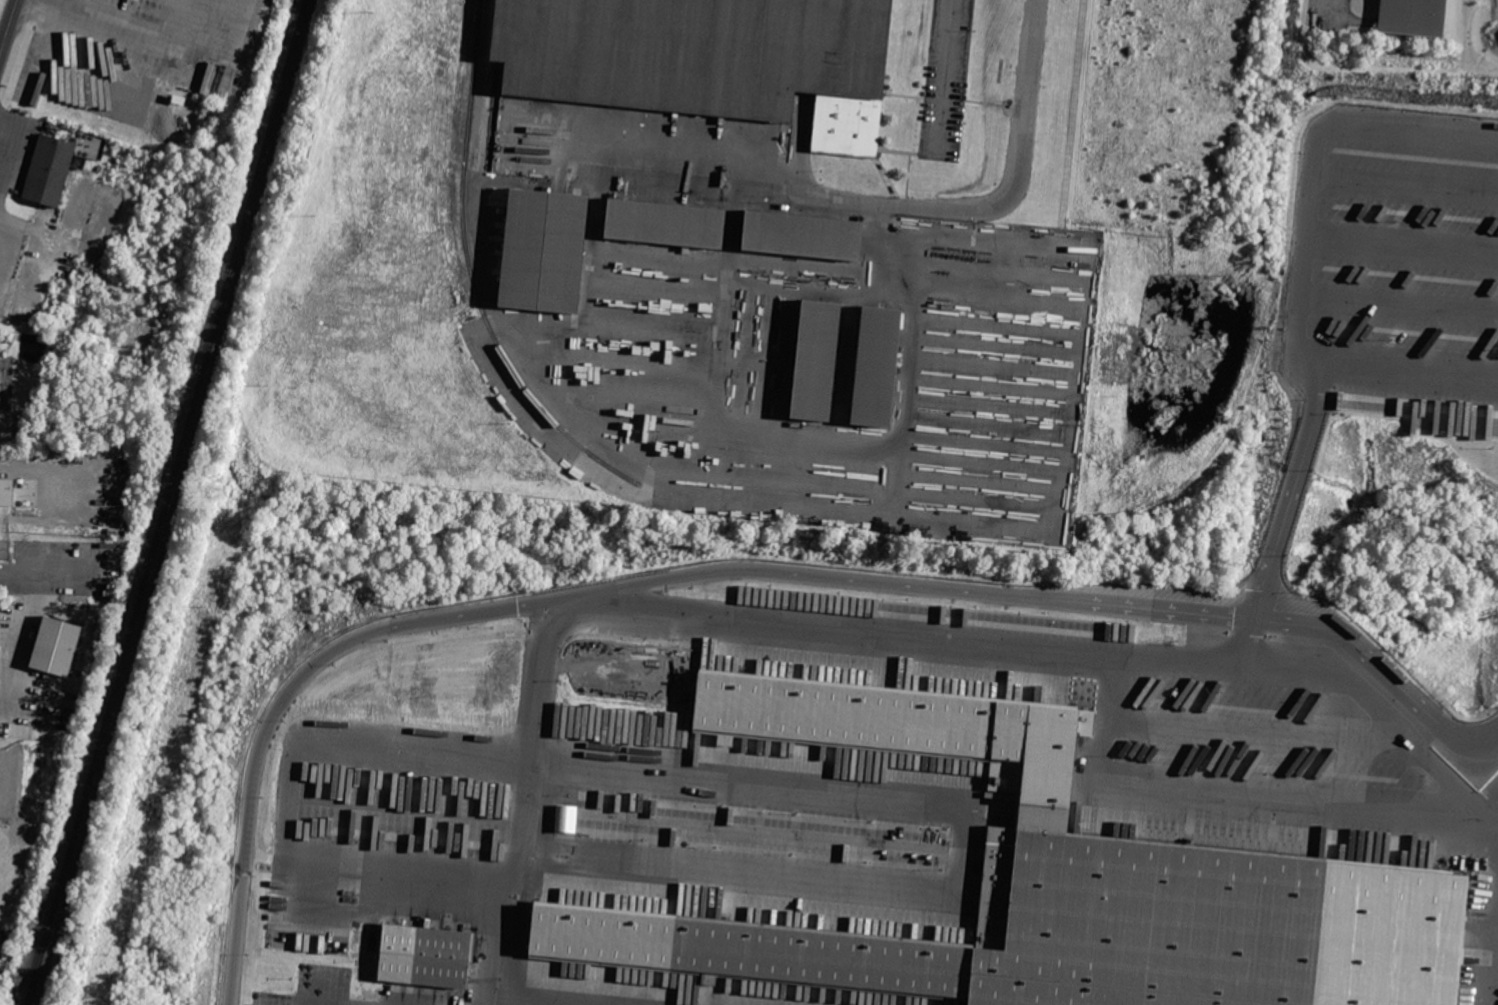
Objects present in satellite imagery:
road: (1331, 8)
building: (1417, 18)
road: (8, 25)
road: (130, 32)
building: (706, 61)
road: (943, 75)
railway: (495, 84)
road: (11, 145)
building: (51, 173)
road: (1406, 180)
road: (882, 203)
building: (665, 224)
road: (48, 230)
building: (803, 239)
road: (1403, 241)
building: (543, 251)
road: (1307, 251)
railway: (472, 276)
road: (1401, 304)
building: (814, 364)
building: (876, 370)
road: (1300, 460)
building: (8, 491)
railway: (166, 502)
building: (8, 549)
road: (1261, 588)
road: (1141, 608)
road: (488, 611)
road: (22, 628)
road: (1248, 642)
building: (55, 645)
road: (1056, 646)
road: (1368, 656)
road: (1250, 731)
road: (1480, 741)
road: (719, 780)
road: (1226, 797)
road: (1493, 800)
road: (529, 803)
road: (1493, 810)
building: (566, 818)
building: (1054, 885)
building: (424, 955)
road: (1486, 968)

